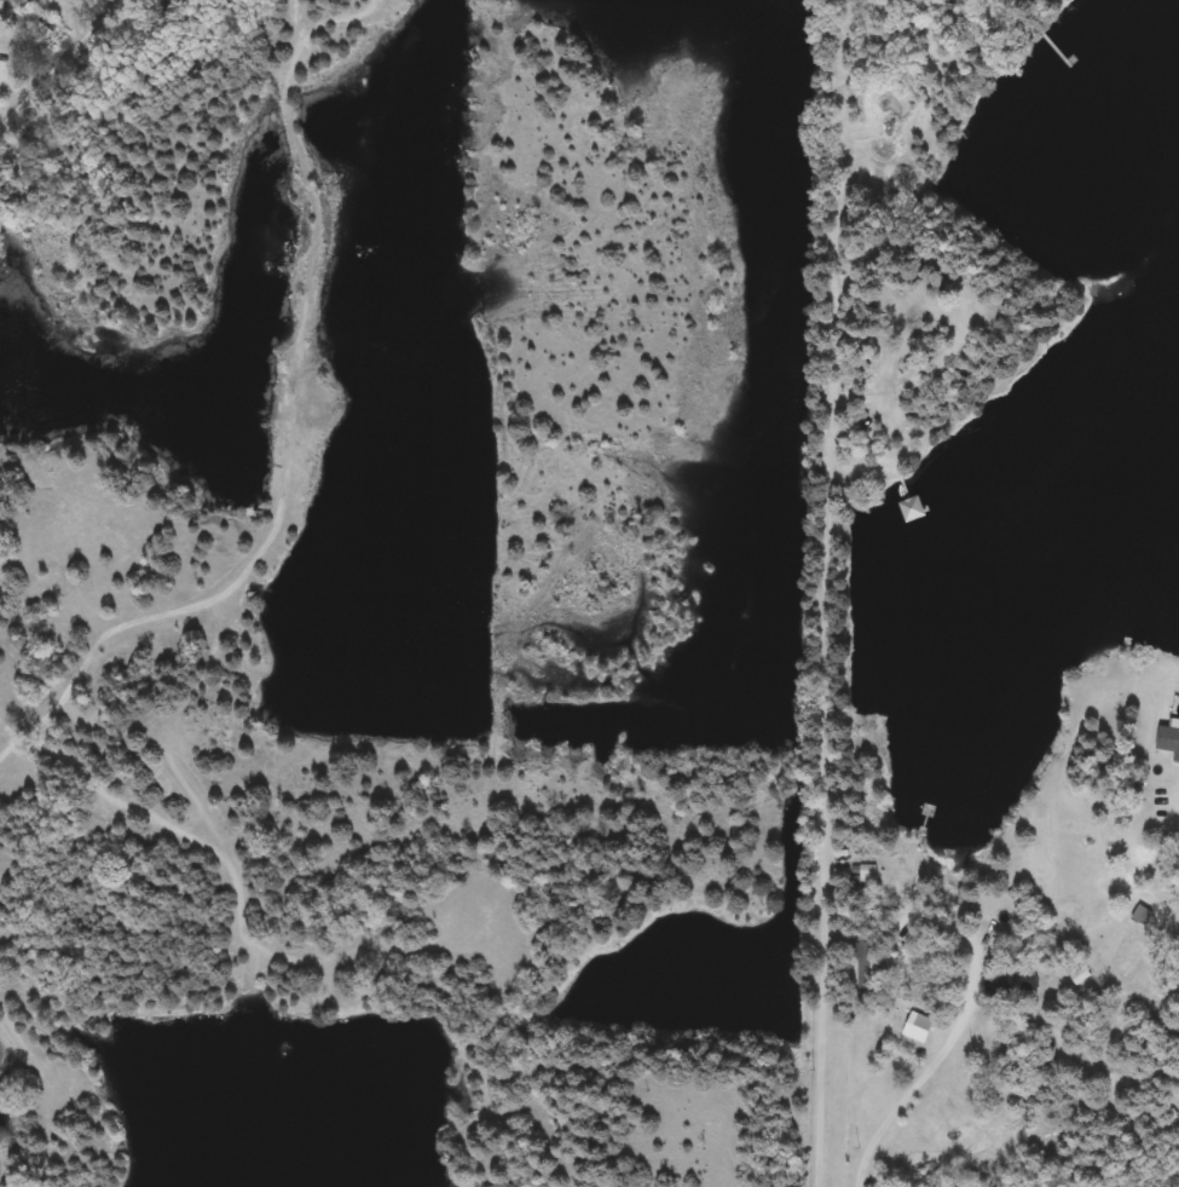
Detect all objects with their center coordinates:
building: (34, 18)
road: (65, 68)
building: (1169, 738)
road: (826, 797)
building: (1142, 914)
building: (1132, 952)
building: (866, 972)
building: (1011, 984)
building: (915, 1020)
road: (926, 1070)

